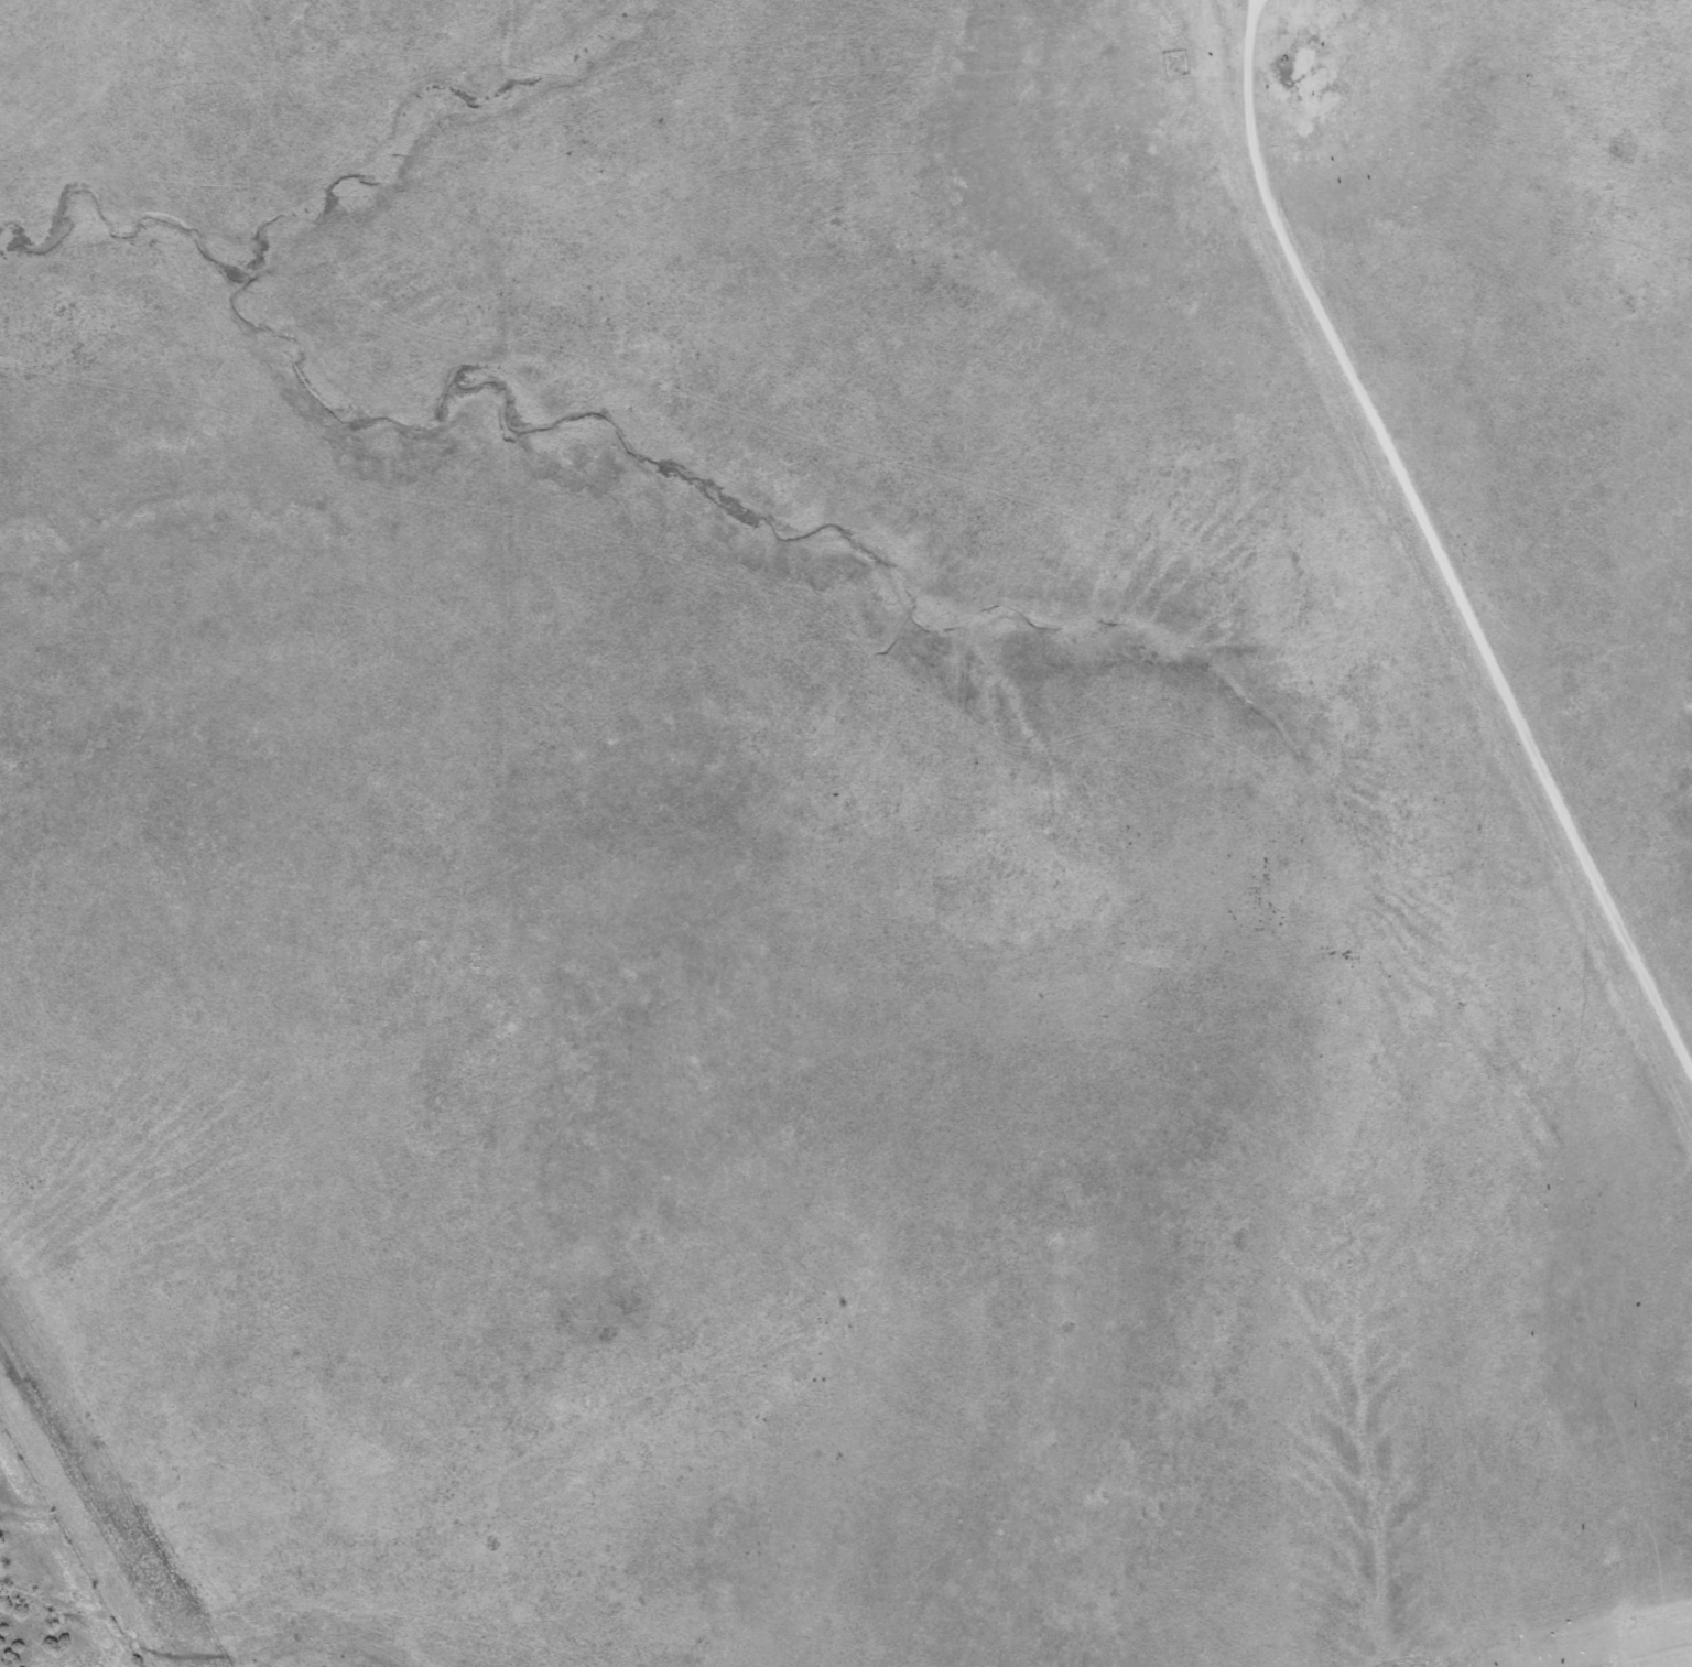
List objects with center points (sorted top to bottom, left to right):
road: (1430, 546)

